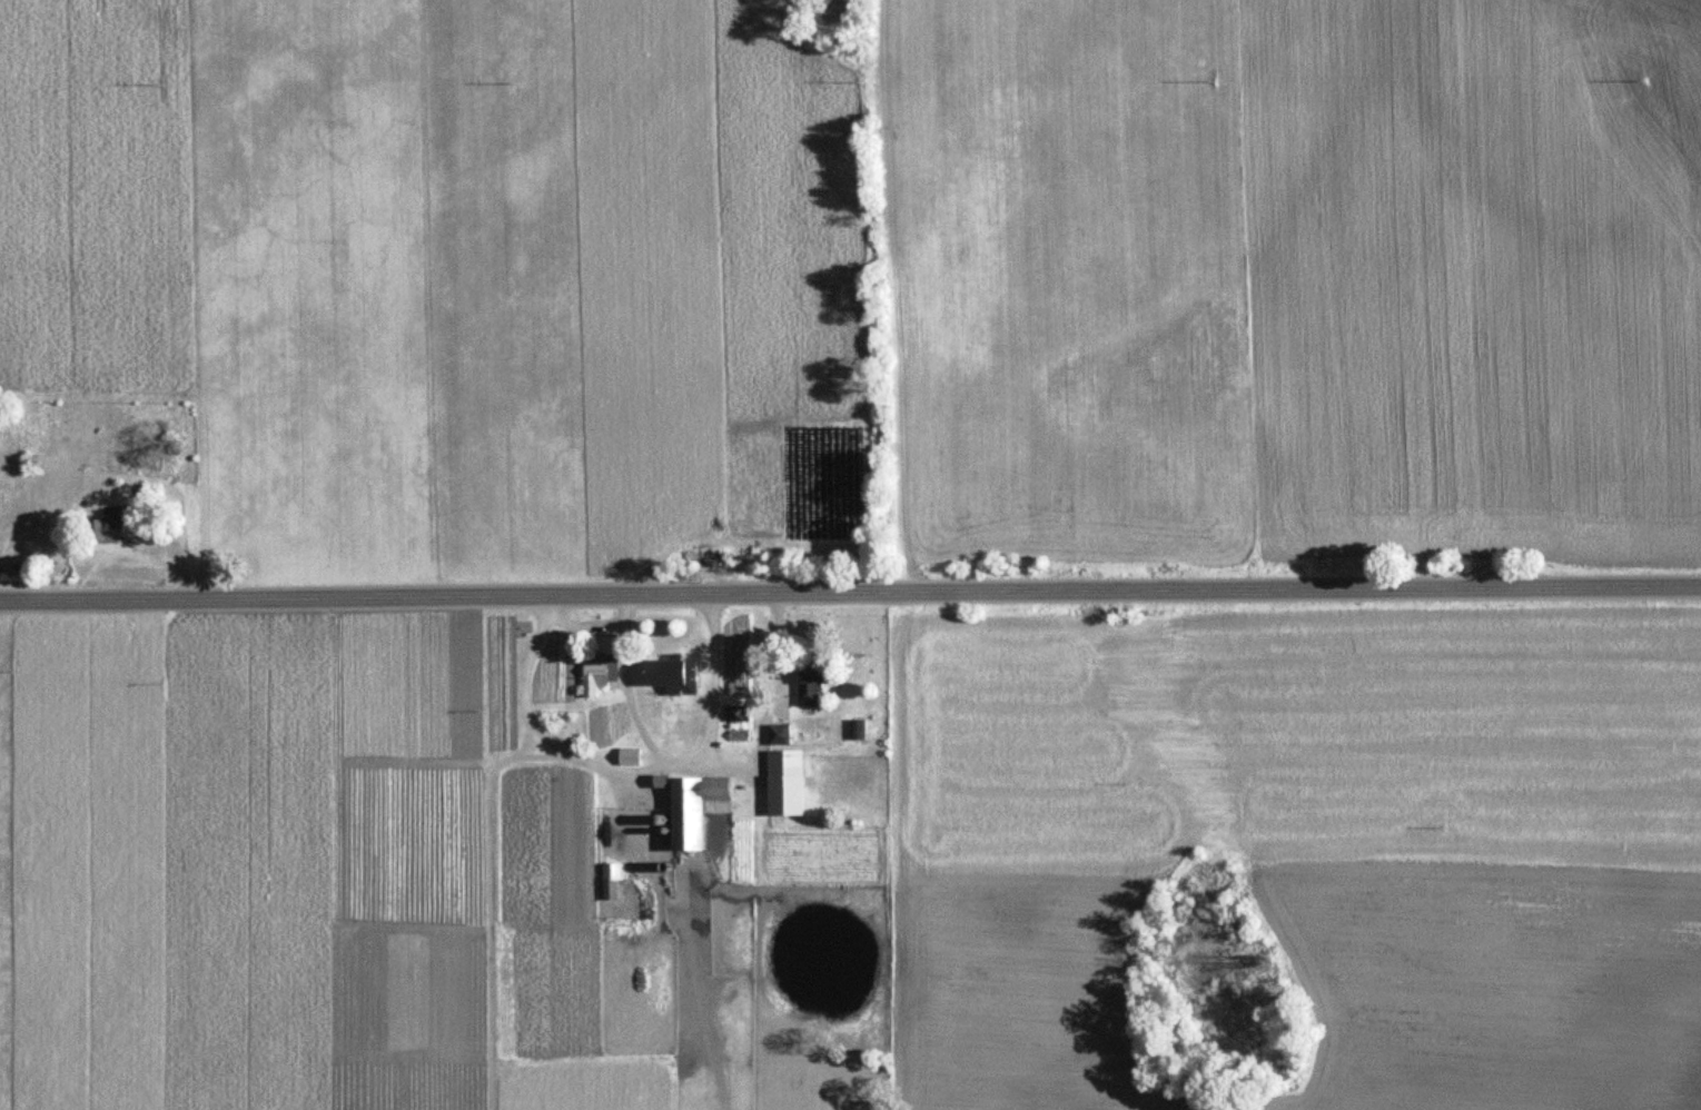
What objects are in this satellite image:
building: (107, 529)
road: (850, 588)
building: (672, 673)
building: (593, 678)
building: (812, 687)
building: (694, 805)
building: (610, 881)

